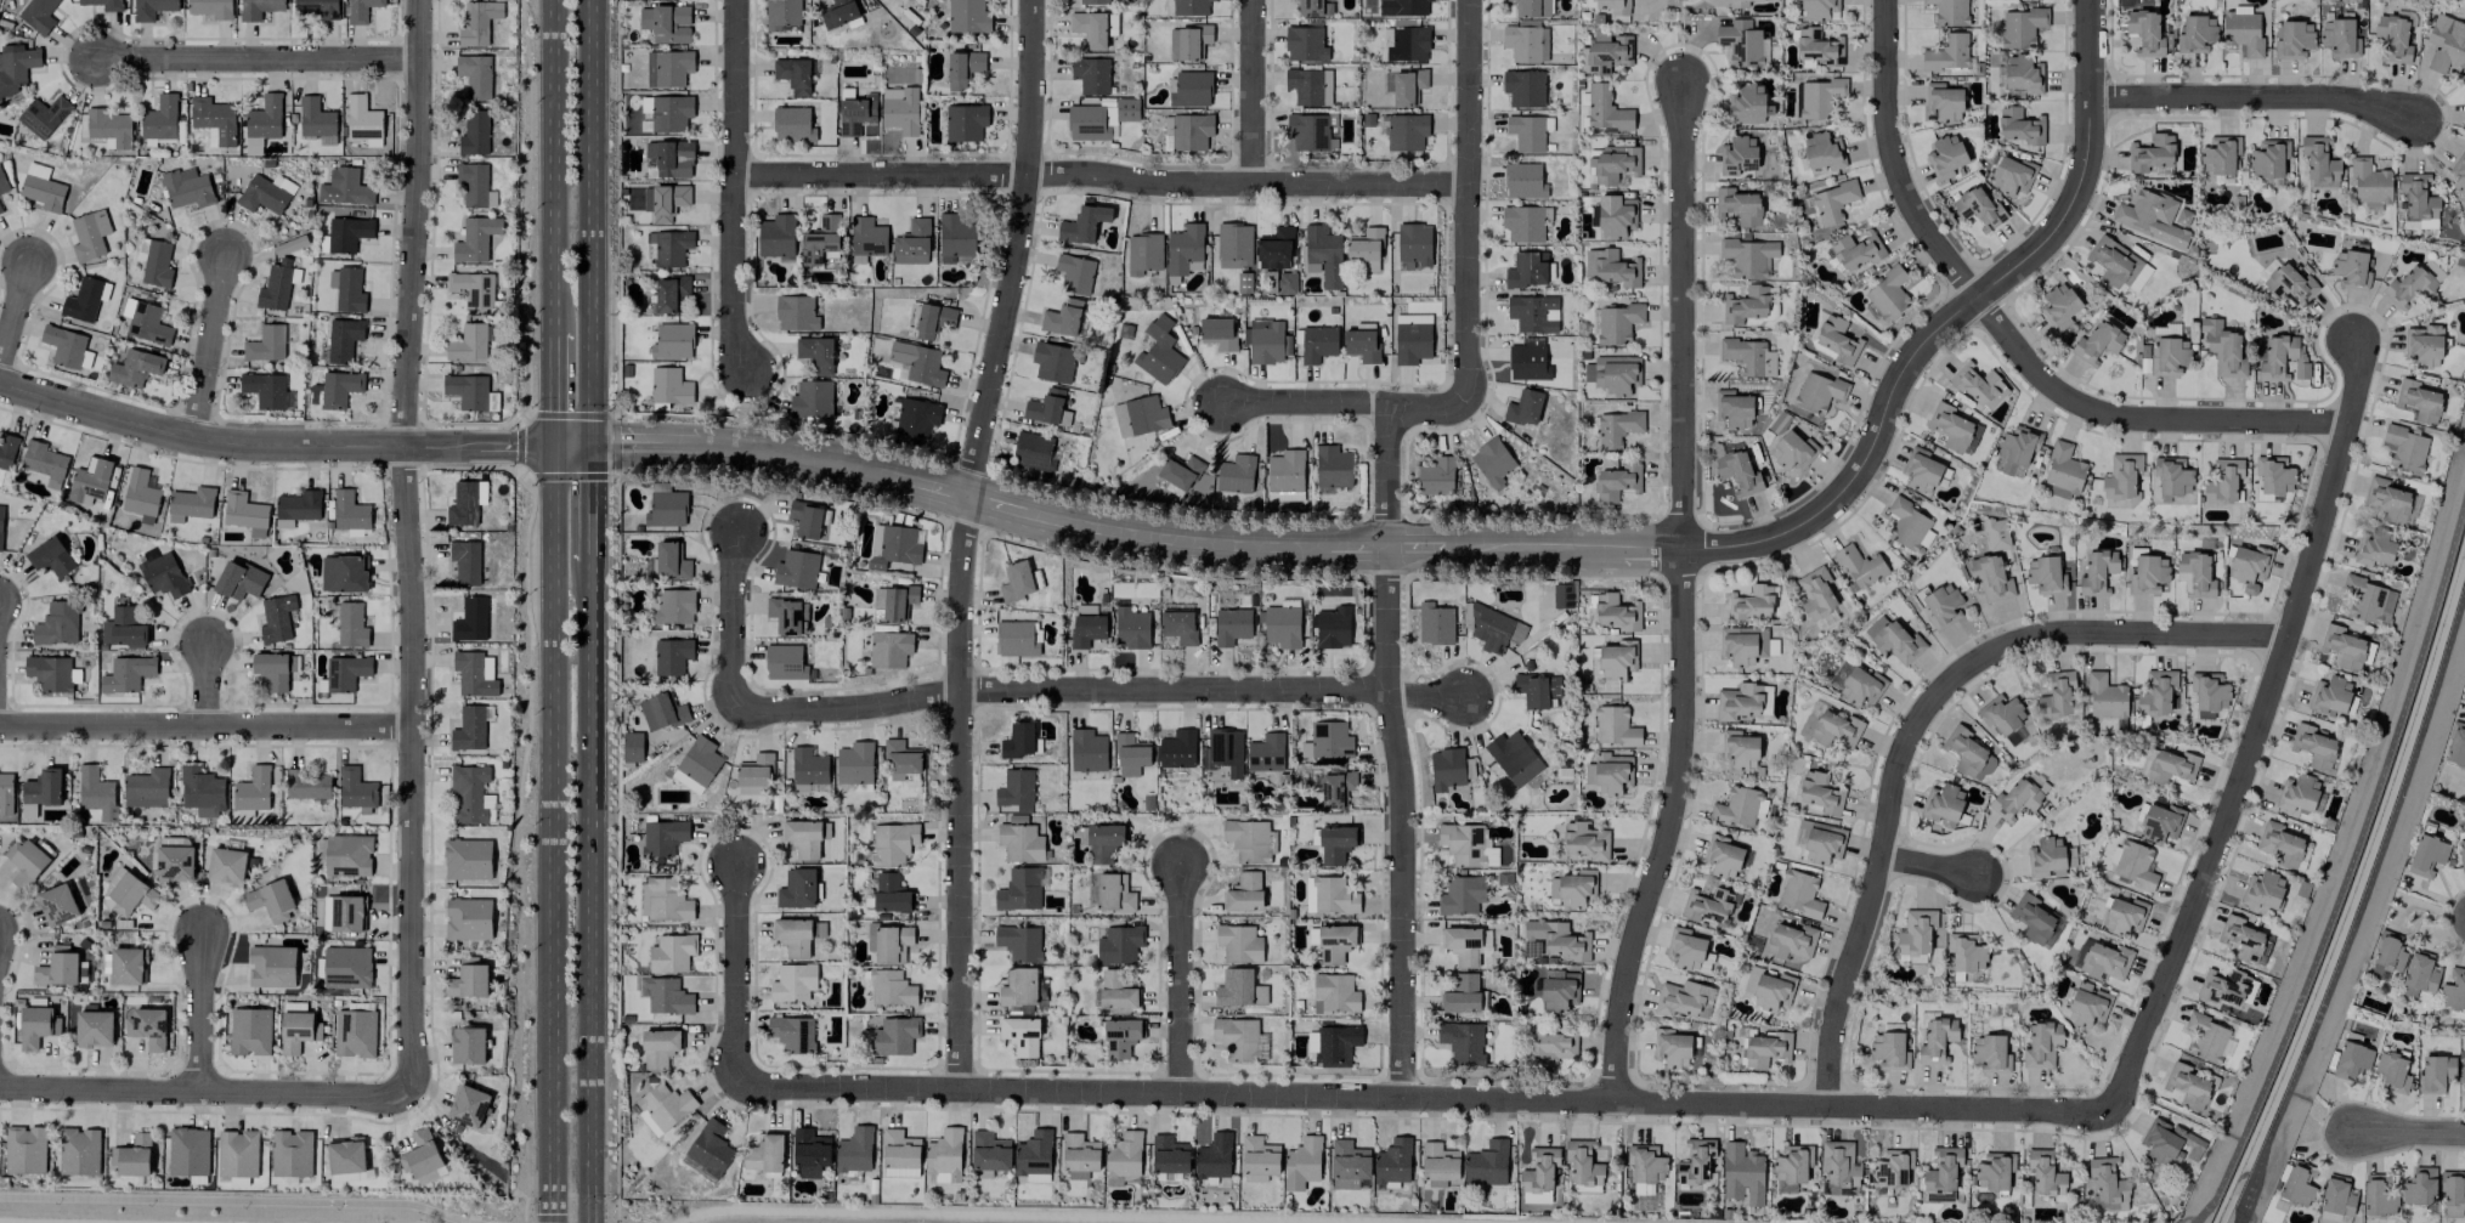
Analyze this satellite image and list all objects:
building: (1093, 1)
building: (102, 4)
building: (1738, 4)
building: (1613, 6)
building: (210, 7)
building: (317, 7)
building: (1189, 7)
building: (1312, 7)
building: (1402, 7)
building: (1531, 7)
building: (151, 9)
building: (258, 9)
building: (360, 10)
building: (1949, 12)
building: (838, 13)
building: (38, 15)
building: (782, 16)
building: (967, 16)
building: (477, 22)
building: (665, 23)
building: (1092, 27)
building: (2020, 27)
building: (2241, 29)
building: (2144, 32)
building: (2195, 34)
building: (1385, 36)
building: (2339, 38)
building: (2392, 38)
building: (2291, 39)
building: (1187, 41)
building: (1740, 41)
building: (1525, 43)
building: (2446, 43)
building: (1304, 44)
building: (1407, 44)
building: (1817, 46)
building: (1607, 51)
building: (1946, 53)
road: (258, 60)
building: (16, 66)
building: (962, 67)
building: (667, 68)
building: (2023, 73)
building: (793, 74)
building: (474, 75)
building: (1090, 75)
building: (1404, 85)
building: (1308, 86)
building: (1523, 87)
building: (1189, 89)
road: (1254, 92)
building: (1820, 97)
road: (2252, 98)
building: (2464, 98)
building: (1943, 102)
building: (1747, 103)
building: (899, 109)
building: (1605, 109)
building: (669, 113)
building: (855, 113)
building: (43, 115)
building: (159, 118)
building: (315, 118)
building: (362, 118)
building: (213, 120)
building: (262, 121)
building: (965, 121)
building: (1087, 123)
building: (791, 124)
road: (2437, 125)
building: (2019, 126)
building: (109, 128)
building: (1308, 131)
building: (1406, 131)
building: (474, 132)
building: (1526, 132)
building: (1822, 151)
building: (2150, 153)
building: (1737, 154)
building: (2218, 154)
building: (1945, 157)
building: (668, 158)
building: (2268, 158)
building: (2318, 159)
road: (1895, 160)
building: (1612, 164)
road: (552, 166)
building: (2459, 171)
building: (2011, 175)
road: (1103, 176)
building: (1522, 181)
building: (2369, 182)
building: (2, 183)
building: (474, 186)
building: (186, 187)
building: (344, 188)
road: (735, 188)
building: (265, 193)
building: (2416, 197)
building: (663, 200)
building: (1833, 202)
road: (1471, 203)
building: (1737, 205)
building: (1978, 206)
building: (0, 211)
building: (1615, 216)
building: (2149, 216)
building: (2181, 216)
road: (589, 222)
building: (1525, 222)
building: (1082, 223)
building: (346, 233)
building: (776, 236)
building: (86, 237)
building: (955, 237)
building: (865, 238)
building: (474, 239)
building: (821, 240)
building: (911, 242)
building: (1233, 245)
building: (1413, 245)
building: (669, 247)
building: (1274, 249)
building: (1364, 249)
building: (1855, 250)
building: (1183, 251)
building: (1143, 253)
building: (1323, 255)
building: (1748, 256)
building: (157, 264)
building: (2118, 265)
building: (1610, 267)
building: (2350, 268)
building: (1526, 270)
building: (2266, 270)
building: (1074, 273)
building: (2289, 284)
building: (277, 285)
building: (2408, 287)
building: (471, 288)
building: (349, 290)
building: (669, 294)
building: (1887, 294)
building: (84, 299)
building: (1745, 304)
building: (2058, 306)
building: (795, 313)
building: (1532, 313)
road: (15, 317)
building: (1062, 317)
building: (929, 318)
building: (147, 323)
building: (1617, 323)
road: (1951, 323)
building: (1217, 332)
building: (1410, 338)
building: (343, 339)
building: (1266, 340)
building: (1836, 340)
building: (470, 341)
building: (672, 341)
building: (1317, 342)
building: (2097, 342)
building: (265, 344)
building: (1361, 344)
building: (2422, 344)
building: (66, 347)
building: (2222, 347)
building: (1158, 351)
road: (209, 352)
building: (815, 353)
building: (2167, 355)
building: (1748, 356)
building: (2282, 358)
building: (1527, 361)
building: (1052, 362)
building: (925, 367)
building: (135, 368)
building: (1612, 373)
building: (1975, 384)
building: (668, 386)
building: (339, 387)
road: (552, 389)
building: (266, 390)
building: (470, 392)
building: (1817, 392)
building: (315, 393)
building: (810, 398)
building: (2418, 401)
road: (1349, 404)
building: (1046, 407)
building: (1522, 408)
building: (1732, 409)
building: (1138, 415)
building: (916, 417)
road: (2138, 420)
building: (1616, 428)
building: (1952, 429)
road: (271, 445)
road: (570, 445)
traffic signals: (589, 445)
traffic signals: (552, 446)
building: (2405, 448)
building: (6, 449)
building: (1792, 451)
building: (2014, 452)
building: (1034, 453)
building: (44, 462)
building: (1492, 463)
building: (1332, 468)
building: (1920, 470)
building: (1178, 471)
building: (1284, 471)
building: (2063, 471)
building: (1737, 472)
building: (1234, 474)
building: (2120, 475)
building: (2274, 475)
building: (1436, 476)
building: (2171, 476)
building: (89, 481)
building: (2222, 481)
building: (1616, 482)
building: (140, 496)
building: (2386, 499)
building: (465, 503)
building: (190, 504)
road: (589, 504)
building: (296, 508)
building: (666, 509)
building: (349, 511)
building: (244, 513)
building: (805, 519)
building: (0, 522)
building: (1909, 525)
building: (1996, 533)
road: (1132, 537)
road: (965, 540)
road: (407, 543)
building: (894, 545)
building: (2374, 548)
building: (50, 556)
building: (465, 561)
building: (669, 561)
building: (1859, 566)
building: (2248, 567)
building: (796, 568)
building: (2097, 571)
building: (2195, 572)
building: (160, 573)
building: (343, 573)
building: (2147, 573)
building: (2045, 574)
building: (1990, 577)
building: (238, 579)
building: (1016, 581)
building: (1815, 593)
building: (1556, 595)
building: (2364, 598)
road: (1684, 599)
building: (1751, 602)
building: (1941, 605)
building: (671, 606)
building: (1616, 612)
building: (786, 615)
building: (277, 618)
building: (473, 618)
road: (733, 622)
building: (57, 623)
building: (1434, 623)
building: (350, 624)
building: (1177, 625)
building: (1231, 625)
building: (1282, 625)
building: (1330, 627)
building: (121, 628)
building: (1130, 628)
building: (1085, 629)
building: (1493, 629)
road: (2098, 635)
building: (1014, 639)
building: (1893, 640)
building: (1741, 644)
building: (2345, 647)
building: (888, 649)
building: (671, 656)
building: (1617, 658)
building: (784, 662)
building: (271, 670)
building: (345, 672)
building: (51, 673)
building: (125, 673)
building: (471, 674)
road: (208, 683)
building: (1855, 684)
building: (1537, 689)
road: (1099, 690)
building: (2155, 692)
building: (2207, 693)
building: (2056, 695)
building: (2329, 696)
building: (2104, 697)
building: (1742, 701)
building: (661, 712)
building: (2001, 713)
road: (207, 724)
building: (1613, 726)
building: (1828, 726)
building: (468, 729)
road: (2252, 734)
building: (1018, 740)
building: (1329, 740)
building: (2455, 744)
building: (2312, 746)
building: (632, 748)
building: (1176, 748)
building: (1738, 748)
building: (1087, 751)
building: (1222, 751)
road: (1398, 751)
building: (1265, 752)
building: (1967, 753)
building: (1130, 754)
building: (1513, 758)
building: (900, 759)
building: (699, 760)
building: (2145, 761)
building: (854, 763)
building: (808, 765)
building: (2171, 766)
building: (1446, 769)
building: (1588, 774)
building: (1611, 774)
building: (753, 775)
building: (305, 785)
building: (809, 787)
building: (1335, 787)
building: (43, 788)
building: (146, 788)
building: (355, 788)
building: (253, 789)
building: (202, 791)
building: (96, 792)
building: (6, 793)
building: (1820, 793)
building: (2297, 793)
building: (469, 794)
building: (2014, 799)
building: (1941, 804)
building: (1738, 806)
building: (2159, 822)
road: (552, 834)
building: (662, 837)
building: (802, 838)
building: (1249, 840)
building: (1585, 840)
building: (1103, 842)
building: (892, 843)
building: (1019, 843)
building: (1821, 843)
building: (1334, 844)
building: (1466, 844)
building: (2279, 844)
building: (2460, 850)
building: (347, 855)
building: (2426, 855)
building: (1721, 856)
building: (2046, 857)
building: (467, 859)
building: (26, 862)
building: (174, 864)
building: (2133, 865)
building: (226, 866)
road: (1930, 866)
road: (2347, 868)
building: (1576, 888)
building: (796, 889)
building: (1019, 889)
building: (2261, 889)
building: (129, 891)
building: (1110, 893)
building: (1243, 893)
road: (589, 894)
building: (889, 894)
building: (1800, 894)
building: (1329, 895)
building: (1460, 895)
building: (271, 900)
building: (666, 900)
road: (1871, 901)
road: (2358, 902)
building: (56, 905)
building: (1708, 906)
building: (341, 913)
building: (2122, 916)
building: (468, 918)
building: (2031, 918)
building: (1916, 932)
building: (792, 936)
building: (1554, 940)
building: (1790, 941)
building: (887, 942)
building: (1018, 942)
building: (1238, 944)
building: (1334, 944)
building: (1118, 945)
building: (1460, 945)
building: (1684, 949)
building: (671, 952)
building: (1966, 952)
building: (2386, 955)
building: (2104, 961)
building: (126, 966)
building: (57, 967)
building: (271, 967)
building: (346, 967)
building: (2419, 974)
road: (739, 975)
road: (1177, 978)
building: (468, 979)
building: (792, 983)
building: (1018, 986)
building: (889, 987)
building: (2226, 987)
building: (1237, 989)
building: (1768, 989)
building: (2453, 990)
building: (1115, 991)
building: (1559, 991)
building: (1334, 993)
building: (1460, 993)
building: (667, 996)
building: (1683, 998)
building: (2087, 1006)
road: (200, 1012)
building: (35, 1026)
building: (147, 1027)
building: (94, 1029)
building: (249, 1031)
building: (296, 1031)
building: (354, 1032)
building: (792, 1032)
building: (1021, 1035)
building: (894, 1036)
building: (1119, 1037)
building: (1236, 1037)
building: (2205, 1037)
building: (1935, 1040)
building: (1462, 1041)
building: (2041, 1043)
building: (467, 1044)
building: (1335, 1044)
building: (1554, 1046)
building: (658, 1048)
building: (1672, 1048)
building: (1765, 1049)
building: (1888, 1051)
building: (1990, 1053)
building: (2351, 1059)
building: (2461, 1068)
building: (2391, 1070)
building: (2435, 1072)
building: (2188, 1086)
road: (203, 1089)
road: (1424, 1098)
building: (467, 1105)
building: (662, 1108)
road: (2178, 1114)
road: (2311, 1115)
road: (2408, 1133)
building: (2169, 1142)
building: (709, 1148)
building: (24, 1149)
building: (854, 1150)
building: (79, 1151)
building: (187, 1151)
building: (989, 1151)
building: (237, 1153)
building: (290, 1153)
building: (809, 1153)
building: (420, 1154)
building: (764, 1154)
building: (899, 1154)
building: (944, 1154)
building: (1169, 1154)
building: (346, 1155)
building: (1259, 1155)
building: (132, 1156)
building: (1033, 1156)
building: (1079, 1156)
building: (1214, 1156)
building: (1121, 1157)
building: (1349, 1160)
building: (1392, 1161)
building: (1695, 1161)
building: (1301, 1162)
building: (1486, 1162)
building: (1582, 1163)
building: (1645, 1163)
building: (1792, 1163)
building: (1438, 1165)
building: (1837, 1167)
building: (1892, 1168)
building: (1539, 1171)
building: (1994, 1171)
building: (2045, 1172)
building: (1741, 1173)
building: (1941, 1174)
building: (937, 1178)
building: (2107, 1180)
building: (2296, 1184)
building: (1785, 1187)
building: (2419, 1187)
building: (2452, 1193)
building: (2336, 1195)
building: (2378, 1196)
road: (236, 1200)

